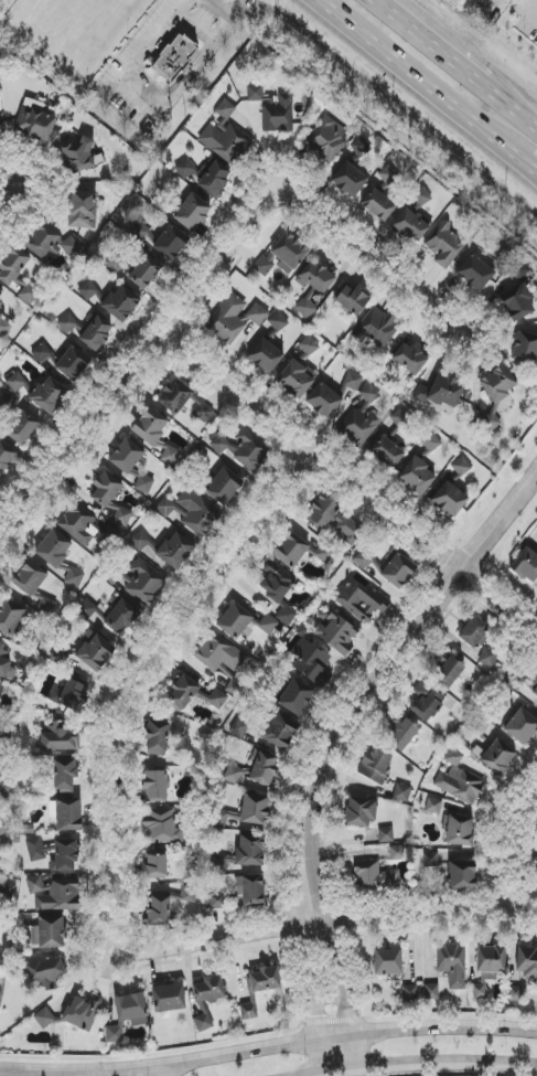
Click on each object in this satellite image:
road: (179, 4)
road: (533, 18)
road: (228, 19)
road: (195, 25)
road: (223, 31)
road: (431, 45)
building: (174, 60)
road: (417, 78)
road: (149, 87)
building: (273, 109)
road: (513, 110)
building: (2, 134)
building: (225, 137)
building: (326, 139)
building: (361, 148)
building: (78, 156)
road: (526, 166)
building: (205, 174)
building: (388, 175)
building: (350, 180)
building: (421, 196)
building: (378, 204)
building: (82, 210)
road: (23, 211)
building: (192, 212)
building: (410, 226)
building: (50, 243)
building: (171, 243)
building: (444, 245)
building: (283, 255)
building: (115, 263)
building: (477, 270)
building: (144, 271)
road: (226, 271)
building: (519, 271)
building: (17, 275)
building: (313, 286)
building: (88, 290)
building: (1, 291)
building: (352, 299)
building: (517, 302)
building: (120, 303)
building: (235, 318)
building: (277, 324)
building: (69, 326)
building: (4, 328)
building: (376, 328)
building: (95, 333)
building: (308, 347)
building: (525, 348)
building: (41, 353)
building: (265, 356)
building: (408, 356)
building: (72, 364)
building: (296, 379)
building: (353, 381)
building: (15, 383)
building: (441, 392)
building: (369, 394)
building: (50, 395)
building: (174, 396)
building: (324, 401)
building: (6, 403)
building: (202, 409)
building: (400, 417)
building: (22, 428)
building: (151, 428)
building: (361, 428)
building: (430, 443)
building: (241, 449)
building: (387, 452)
building: (6, 456)
building: (170, 456)
building: (131, 464)
building: (461, 467)
building: (417, 477)
building: (223, 486)
road: (351, 486)
building: (106, 488)
building: (449, 499)
building: (165, 507)
building: (323, 510)
building: (197, 514)
building: (122, 518)
building: (85, 528)
building: (350, 530)
building: (55, 546)
building: (168, 550)
building: (291, 550)
building: (325, 553)
building: (526, 564)
building: (397, 569)
building: (74, 578)
building: (29, 579)
building: (275, 582)
building: (142, 583)
building: (46, 607)
building: (117, 616)
building: (286, 616)
building: (10, 617)
building: (234, 620)
building: (266, 624)
building: (337, 631)
building: (474, 632)
building: (94, 651)
building: (218, 653)
building: (488, 657)
building: (312, 662)
building: (7, 667)
road: (129, 672)
building: (448, 673)
road: (373, 678)
building: (235, 688)
building: (534, 689)
building: (1, 691)
building: (193, 693)
building: (69, 695)
building: (296, 697)
building: (427, 705)
building: (522, 726)
building: (239, 729)
building: (400, 733)
building: (279, 734)
building: (158, 736)
building: (58, 739)
building: (498, 757)
building: (376, 765)
building: (255, 769)
building: (64, 776)
building: (459, 780)
building: (154, 786)
building: (6, 788)
building: (401, 792)
building: (433, 806)
building: (255, 810)
building: (361, 811)
building: (66, 814)
building: (4, 824)
building: (162, 825)
building: (458, 830)
building: (386, 835)
building: (247, 853)
building: (397, 853)
road: (514, 854)
building: (154, 863)
building: (536, 871)
building: (461, 875)
building: (374, 877)
building: (7, 891)
building: (253, 891)
building: (53, 895)
building: (218, 902)
building: (158, 912)
road: (323, 923)
building: (49, 933)
building: (388, 961)
building: (526, 962)
building: (452, 965)
building: (487, 968)
building: (46, 971)
building: (265, 979)
building: (208, 989)
building: (431, 991)
building: (410, 992)
building: (516, 994)
building: (169, 998)
building: (249, 1009)
building: (83, 1012)
building: (126, 1015)
building: (44, 1019)
building: (203, 1022)
road: (267, 1044)
road: (340, 1066)
road: (420, 1066)
road: (169, 1070)

